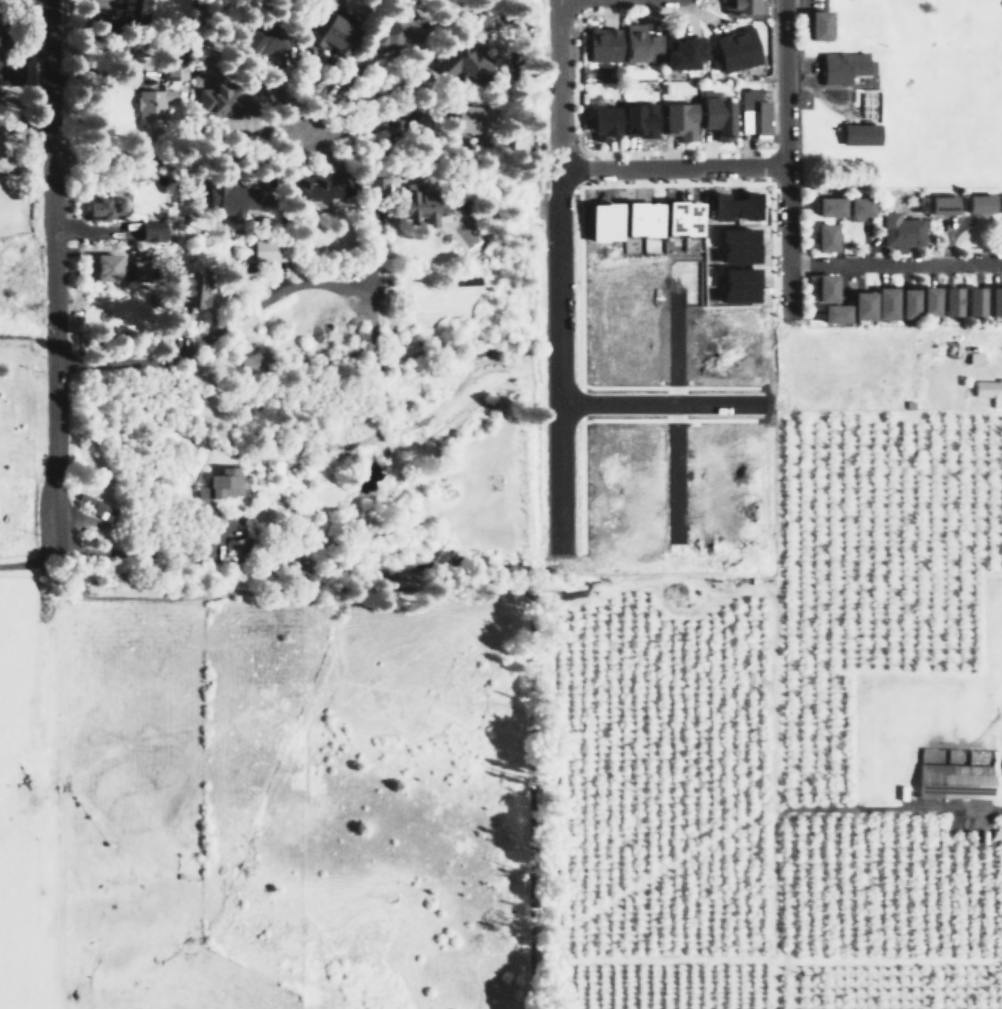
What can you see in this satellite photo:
building: (742, 6)
building: (814, 25)
building: (400, 35)
building: (333, 36)
building: (259, 40)
building: (635, 42)
building: (601, 44)
building: (679, 49)
building: (732, 50)
building: (461, 63)
building: (840, 66)
building: (172, 70)
road: (557, 84)
building: (216, 99)
building: (151, 102)
road: (25, 105)
building: (751, 112)
building: (713, 114)
building: (636, 119)
building: (464, 120)
building: (676, 120)
building: (600, 122)
building: (859, 134)
building: (516, 138)
road: (787, 154)
road: (179, 156)
road: (673, 168)
building: (375, 182)
building: (317, 189)
building: (224, 198)
building: (973, 203)
building: (937, 204)
building: (999, 204)
building: (411, 205)
building: (823, 205)
building: (854, 205)
building: (730, 206)
building: (100, 207)
building: (678, 218)
building: (638, 219)
building: (148, 231)
building: (898, 231)
building: (820, 238)
building: (735, 246)
building: (266, 251)
road: (895, 264)
building: (104, 268)
building: (135, 271)
road: (53, 277)
building: (736, 285)
building: (821, 288)
building: (188, 293)
building: (969, 300)
building: (992, 300)
building: (945, 301)
building: (923, 302)
building: (892, 304)
building: (845, 309)
road: (216, 328)
building: (250, 362)
road: (559, 368)
building: (987, 391)
road: (660, 402)
road: (673, 430)
building: (219, 483)
building: (96, 506)
road: (141, 559)
road: (663, 570)
road: (336, 587)
road: (270, 588)
road: (83, 597)
road: (172, 598)
road: (529, 705)
building: (955, 771)
road: (896, 808)

